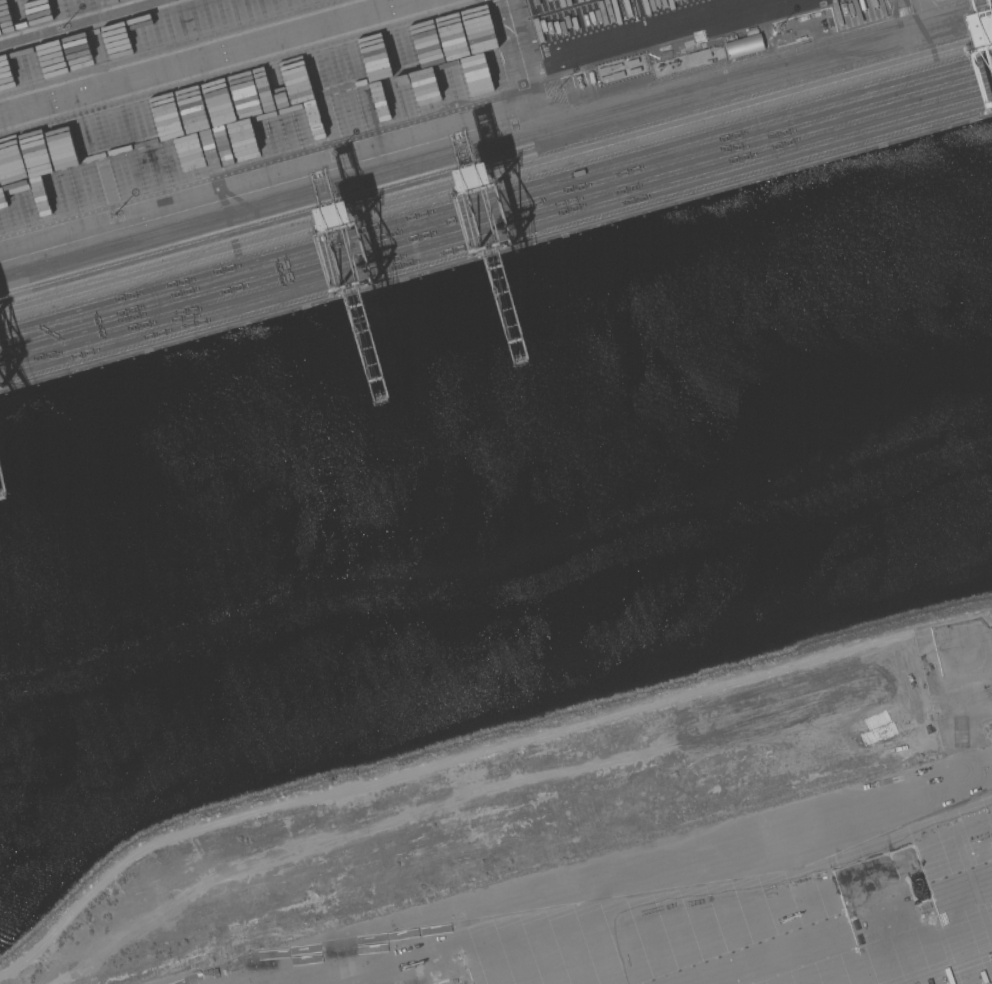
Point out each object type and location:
road: (908, 4)
building: (744, 45)
building: (699, 55)
pier: (500, 216)
railway: (495, 227)

